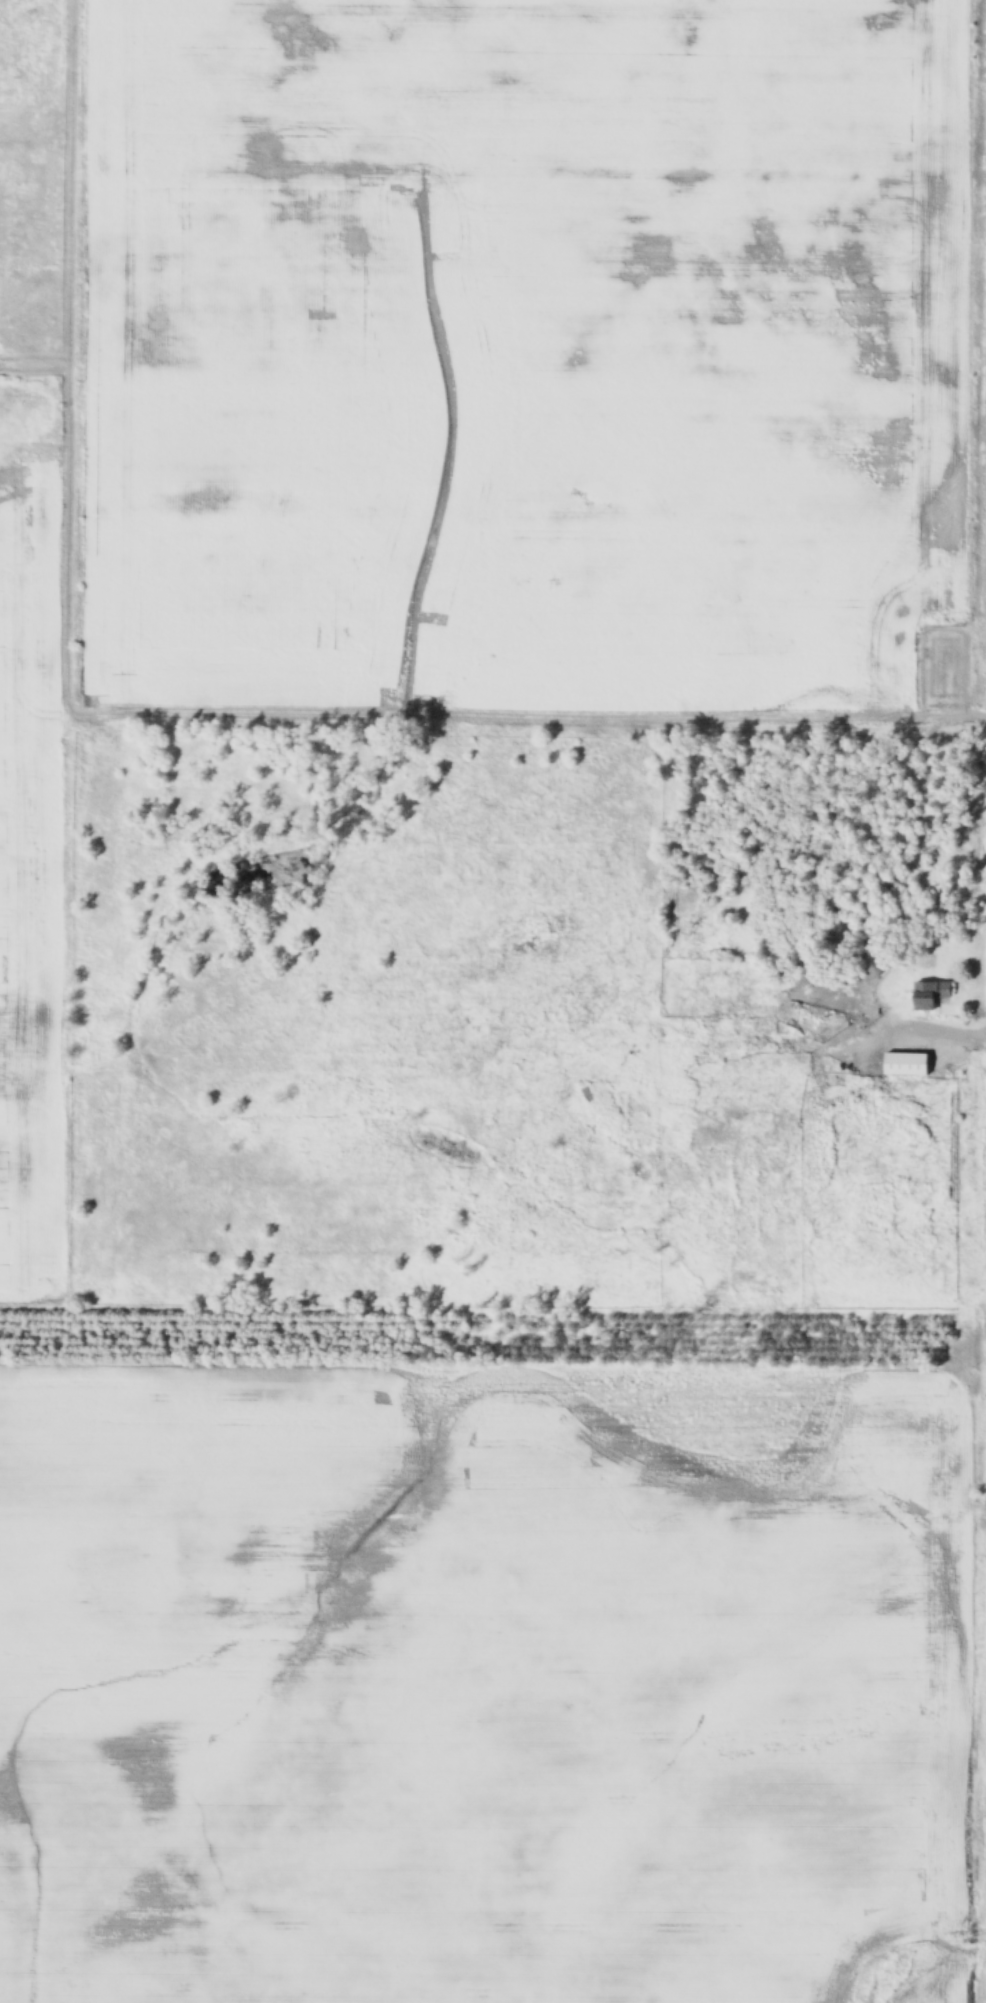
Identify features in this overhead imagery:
building: (931, 995)
building: (907, 1064)
building: (586, 1094)

